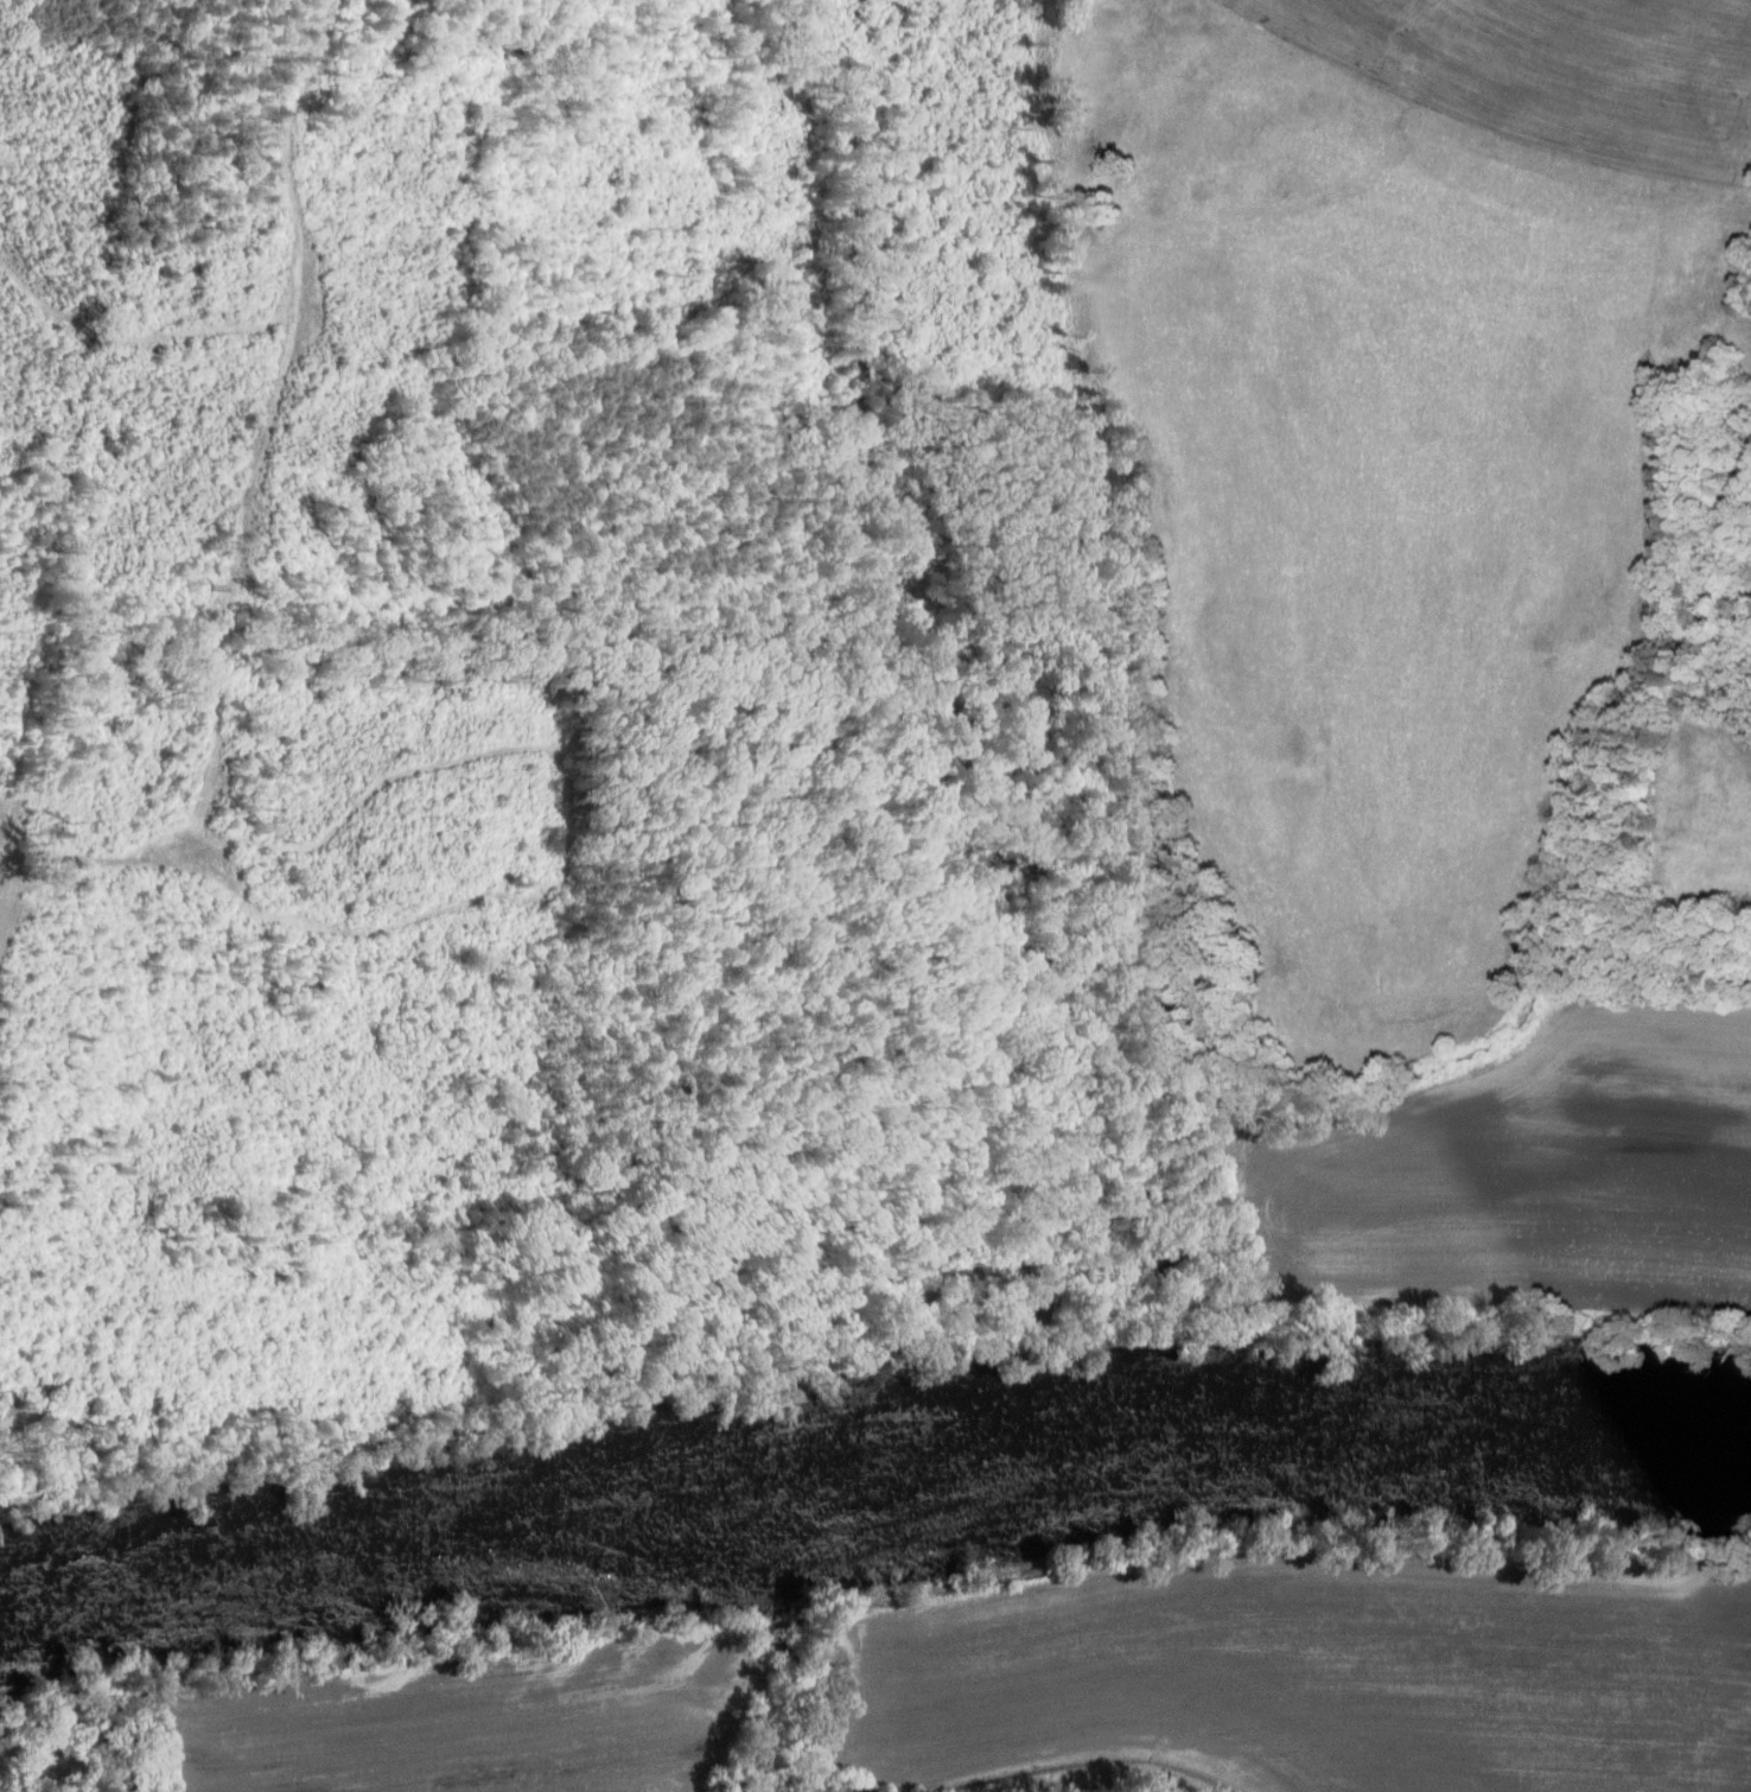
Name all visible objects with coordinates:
river: (1013, 1447)
river: (141, 1575)

